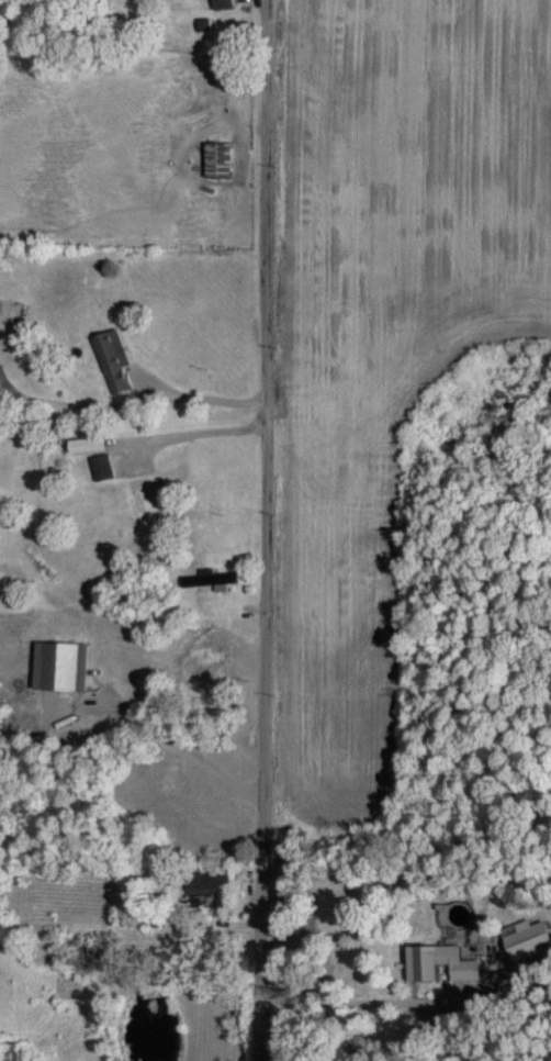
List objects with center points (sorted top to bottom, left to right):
building: (224, 3)
building: (222, 157)
building: (0, 310)
building: (114, 360)
building: (93, 444)
building: (102, 466)
road: (263, 530)
building: (210, 578)
building: (64, 664)
building: (520, 936)
building: (434, 961)
road: (372, 1001)

